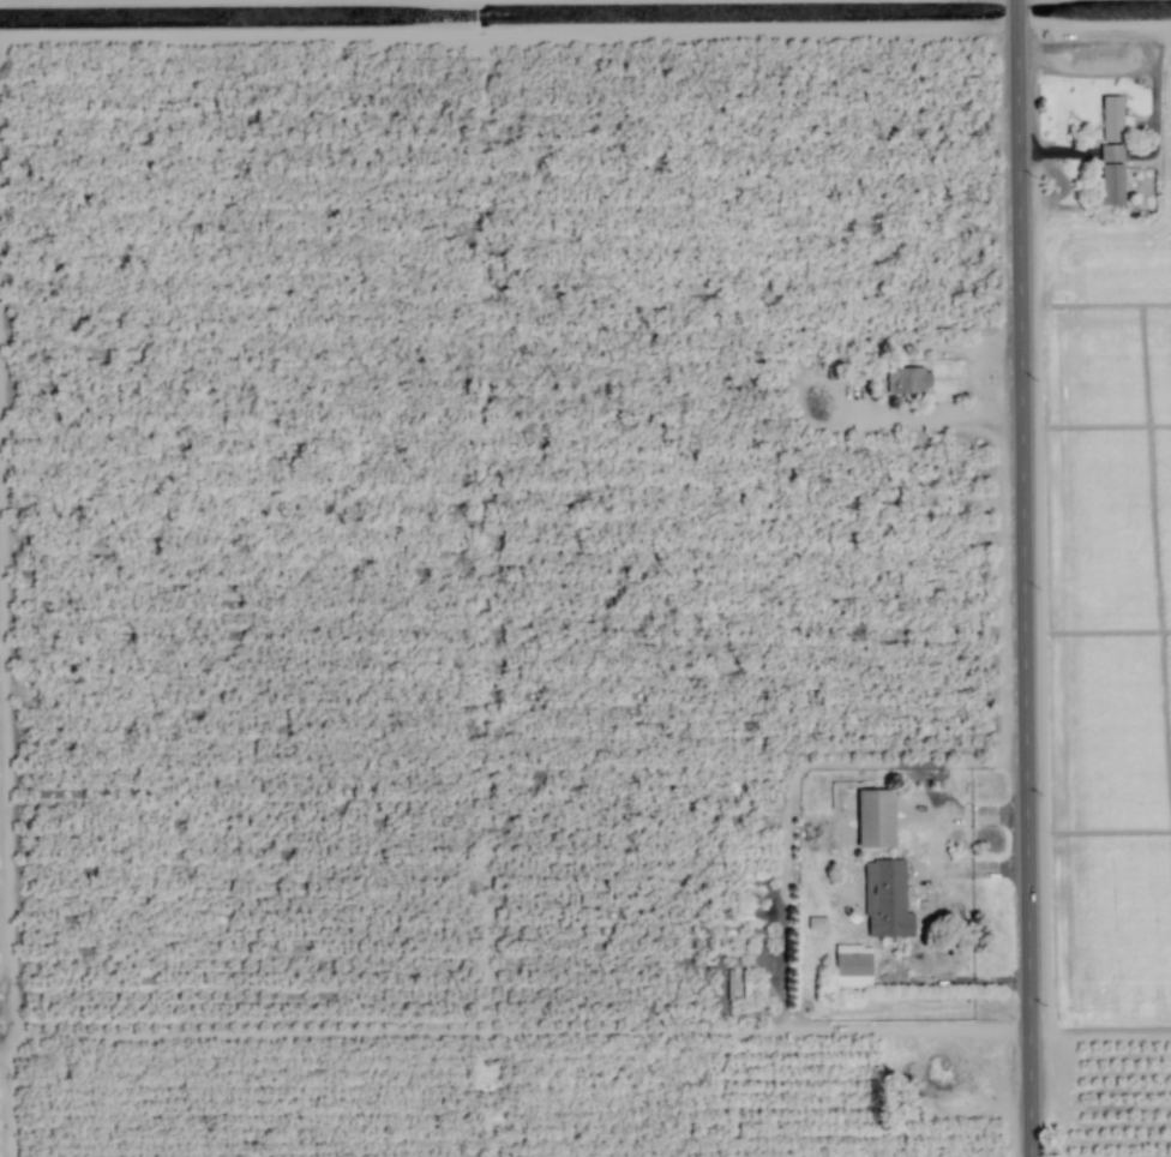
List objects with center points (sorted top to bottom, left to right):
building: (1112, 120)
building: (1112, 176)
building: (837, 372)
building: (908, 383)
road: (1025, 577)
building: (875, 820)
road: (937, 843)
building: (887, 901)
building: (853, 969)
road: (963, 978)

